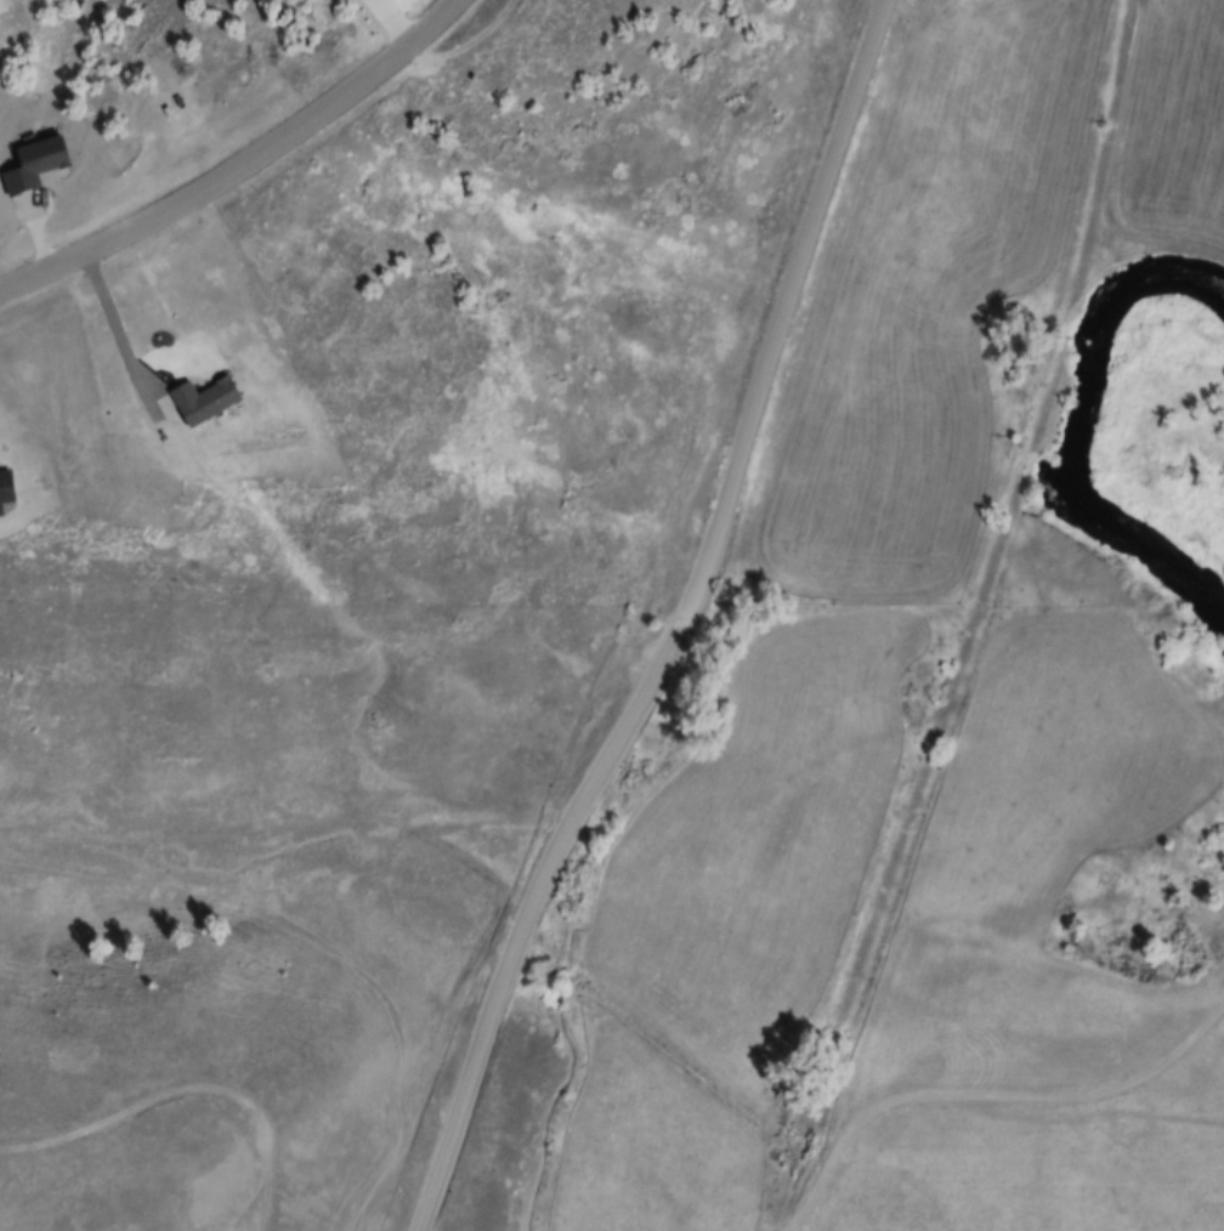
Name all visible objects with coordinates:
road: (243, 168)
road: (786, 302)
river: (1064, 418)
road: (532, 911)

